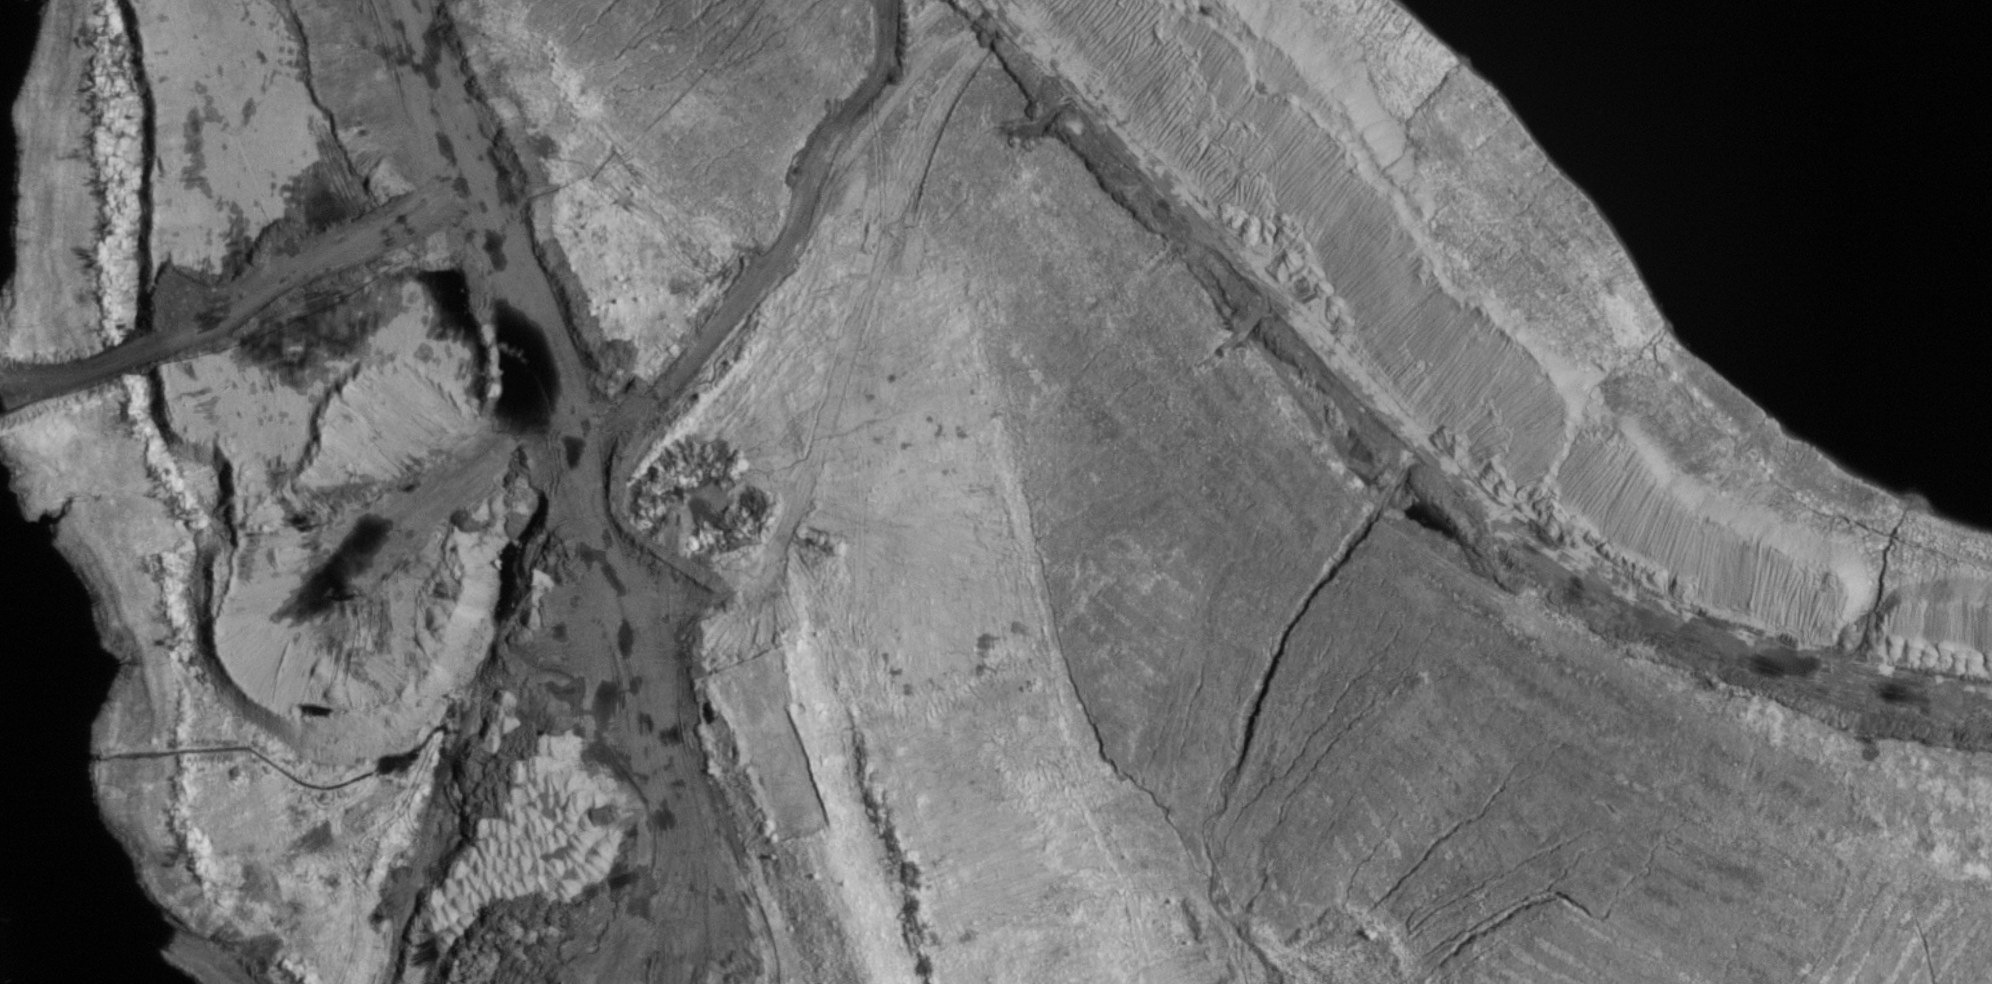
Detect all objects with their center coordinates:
quarry: (948, 519)

